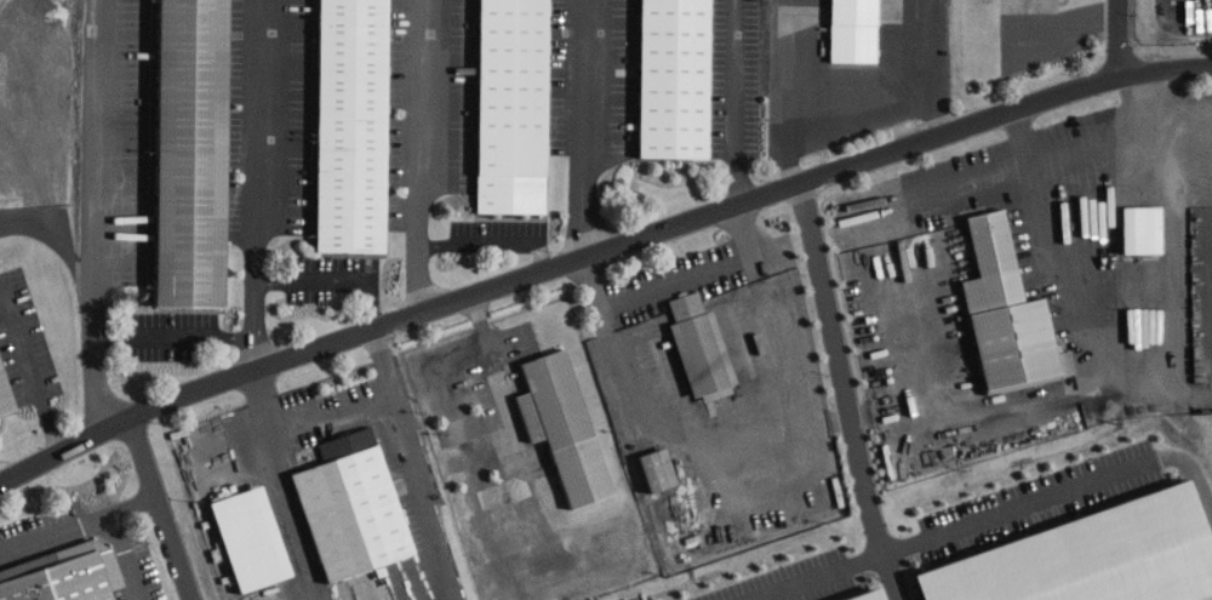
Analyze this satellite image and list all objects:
building: (837, 27)
road: (1121, 39)
building: (658, 75)
road: (736, 96)
road: (837, 102)
building: (497, 103)
road: (585, 120)
building: (336, 122)
building: (175, 149)
road: (417, 150)
road: (1007, 168)
road: (253, 183)
road: (91, 213)
building: (1127, 222)
road: (50, 232)
road: (594, 238)
road: (1165, 245)
road: (1059, 269)
road: (657, 272)
road: (328, 280)
building: (991, 305)
road: (467, 315)
road: (173, 336)
building: (686, 342)
road: (379, 354)
road: (32, 366)
road: (840, 388)
road: (1202, 393)
road: (261, 400)
building: (548, 418)
road: (253, 451)
building: (642, 463)
road: (422, 497)
building: (336, 499)
road: (165, 504)
road: (80, 522)
road: (953, 530)
building: (234, 531)
building: (1074, 555)
road: (116, 556)

